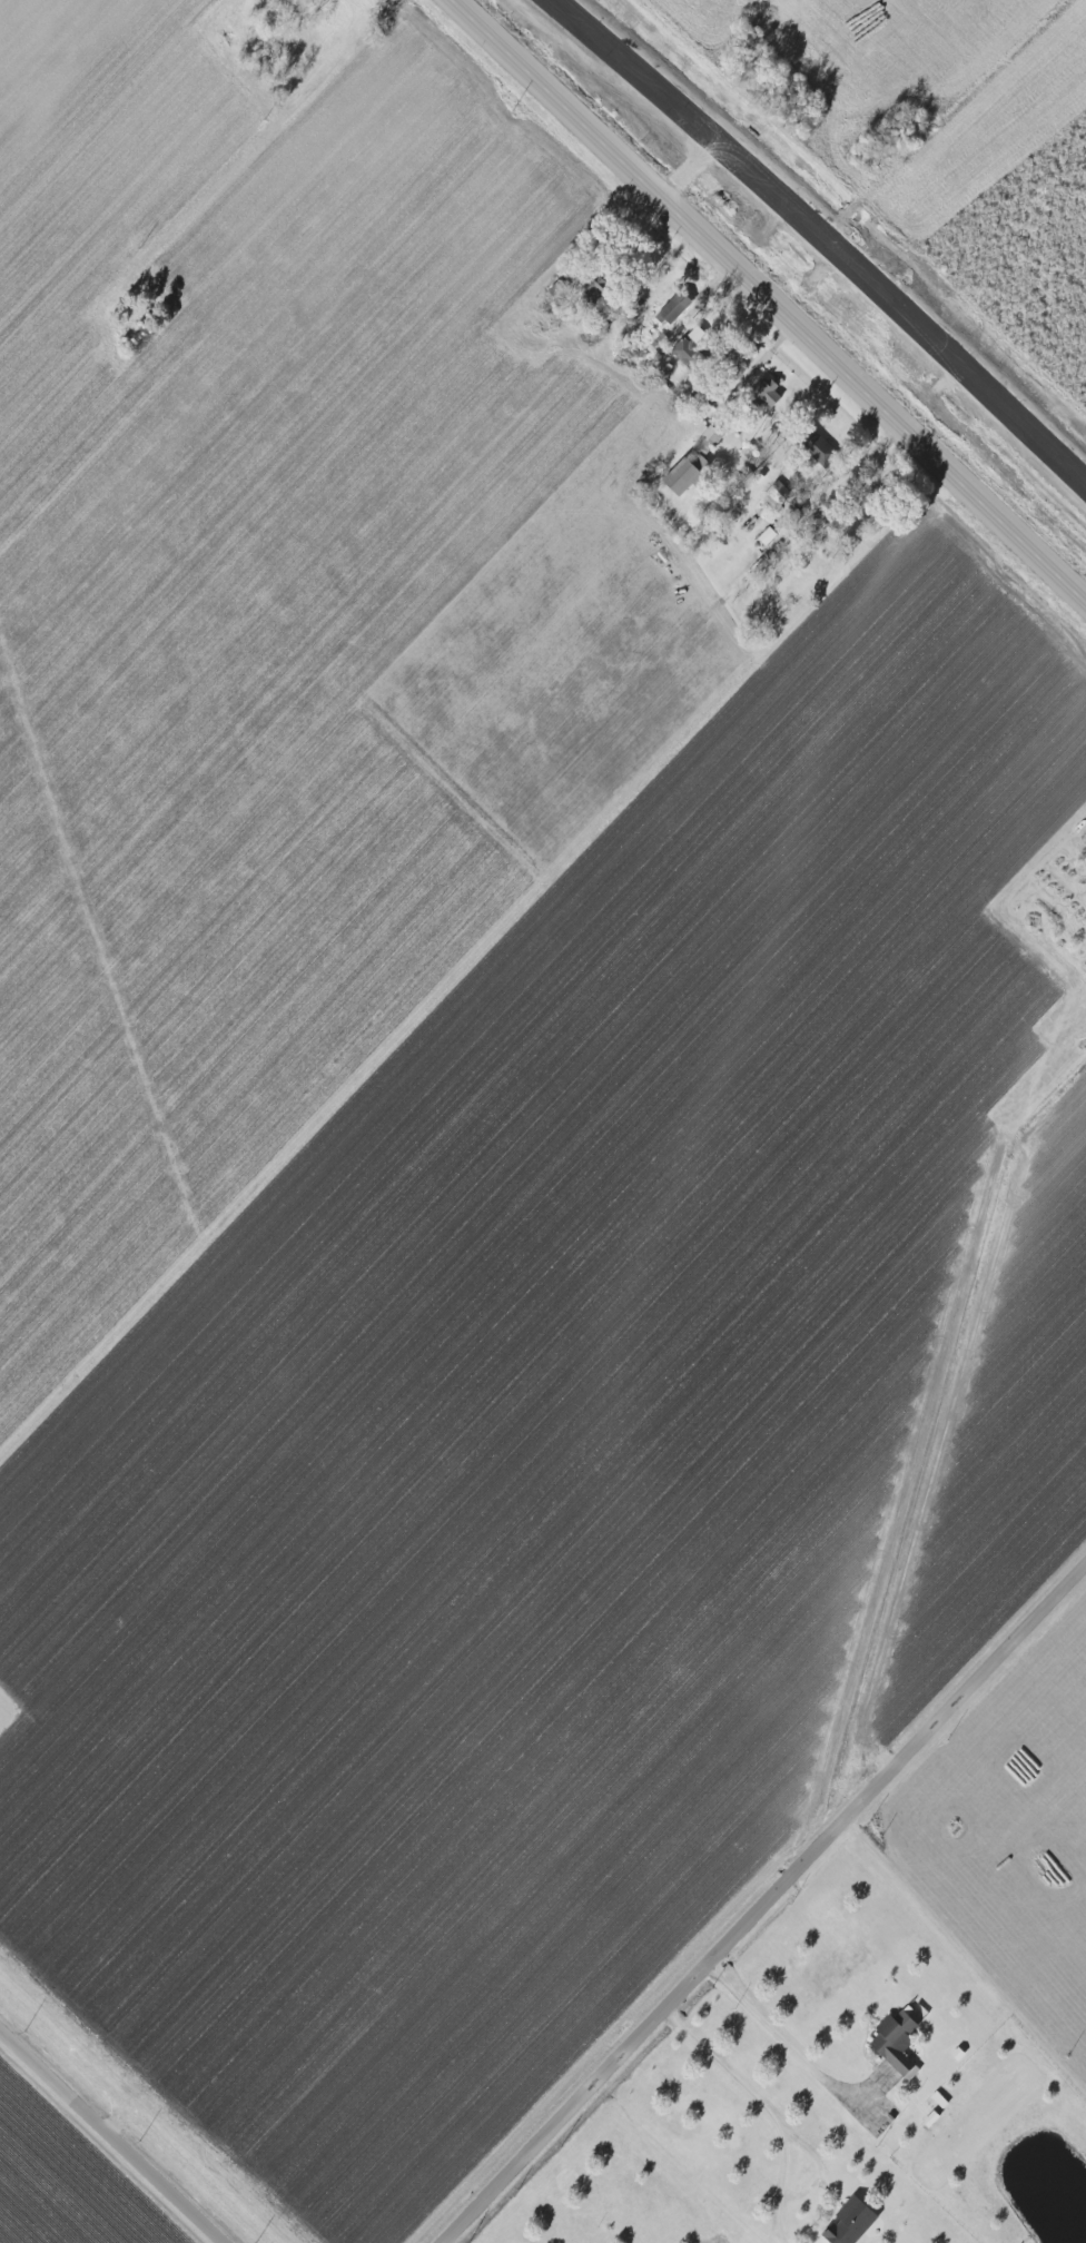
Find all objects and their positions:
road: (263, 149)
road: (610, 231)
building: (603, 289)
road: (770, 300)
building: (677, 307)
building: (688, 353)
building: (769, 392)
building: (822, 449)
building: (694, 464)
building: (769, 535)
road: (768, 1907)
building: (898, 2042)
road: (786, 2046)
road: (769, 2109)
road: (115, 2133)
building: (852, 2221)

